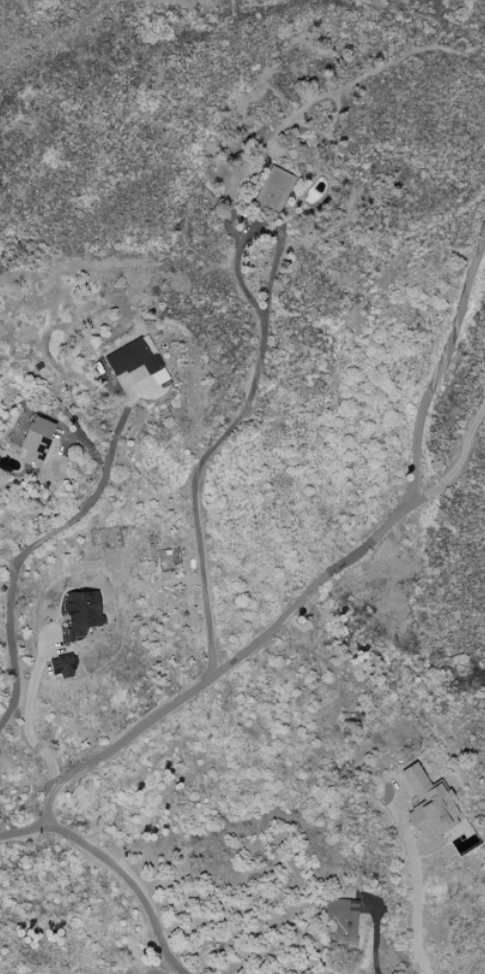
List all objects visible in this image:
building: (275, 190)
building: (135, 358)
road: (247, 405)
building: (37, 442)
road: (453, 470)
road: (46, 533)
road: (8, 562)
road: (325, 572)
building: (82, 612)
building: (63, 663)
road: (28, 718)
building: (429, 806)
road: (115, 862)
road: (416, 884)
building: (343, 923)
road: (376, 934)

